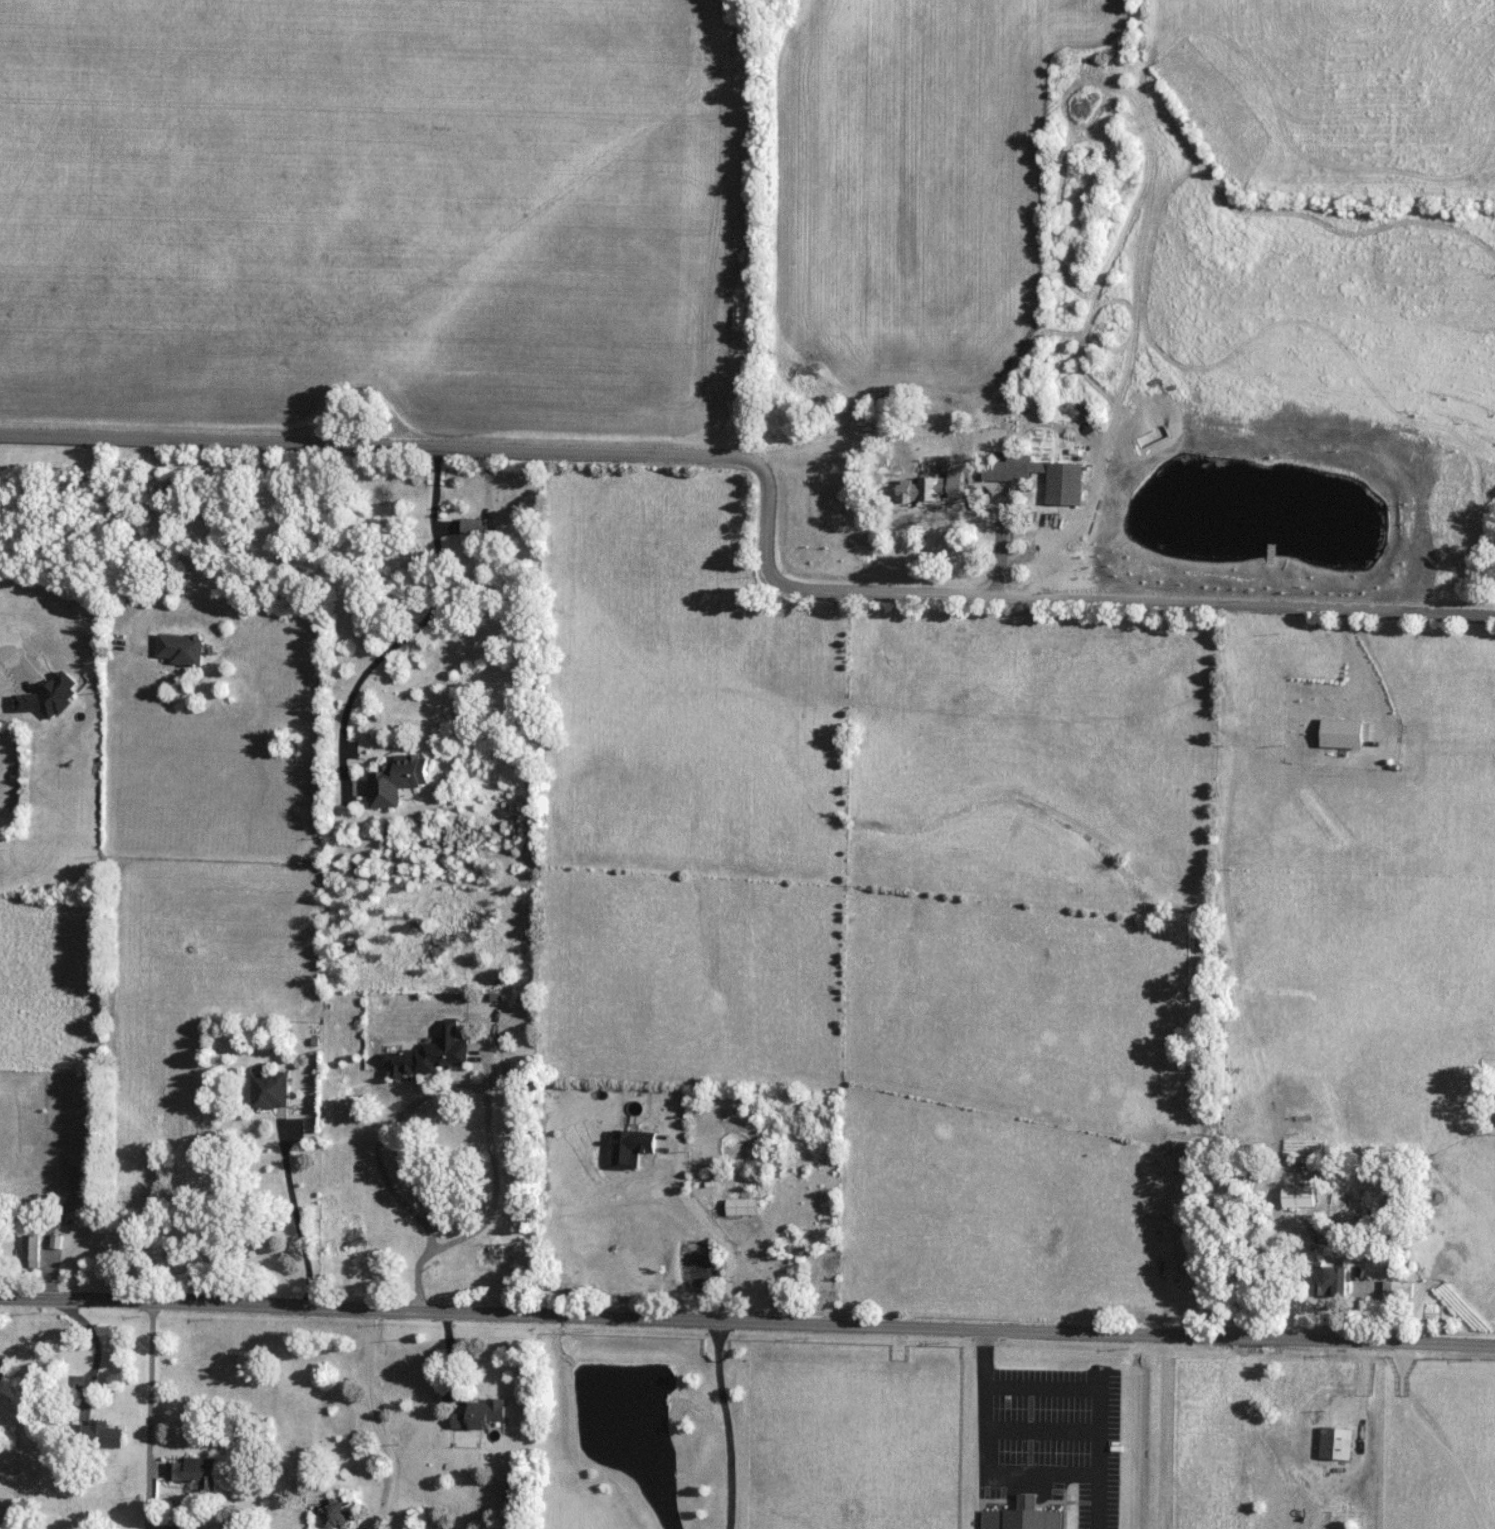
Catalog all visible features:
building: (1006, 476)
building: (927, 491)
road: (770, 500)
building: (478, 527)
road: (156, 544)
road: (999, 546)
road: (420, 621)
building: (181, 649)
road: (6, 655)
road: (1364, 670)
building: (397, 780)
building: (430, 1055)
building: (271, 1091)
road: (484, 1092)
building: (1494, 1100)
building: (73, 1179)
building: (1298, 1198)
building: (741, 1207)
road: (295, 1215)
road: (46, 1244)
building: (32, 1252)
building: (824, 1274)
building: (1330, 1281)
building: (1397, 1290)
road: (747, 1324)
road: (97, 1349)
building: (3, 1370)
road: (152, 1416)
building: (482, 1416)
road: (380, 1421)
road: (725, 1425)
building: (105, 1435)
road: (1435, 1436)
building: (1336, 1444)
building: (196, 1472)
road: (1071, 1475)
building: (509, 1486)
building: (337, 1515)
building: (175, 1527)

